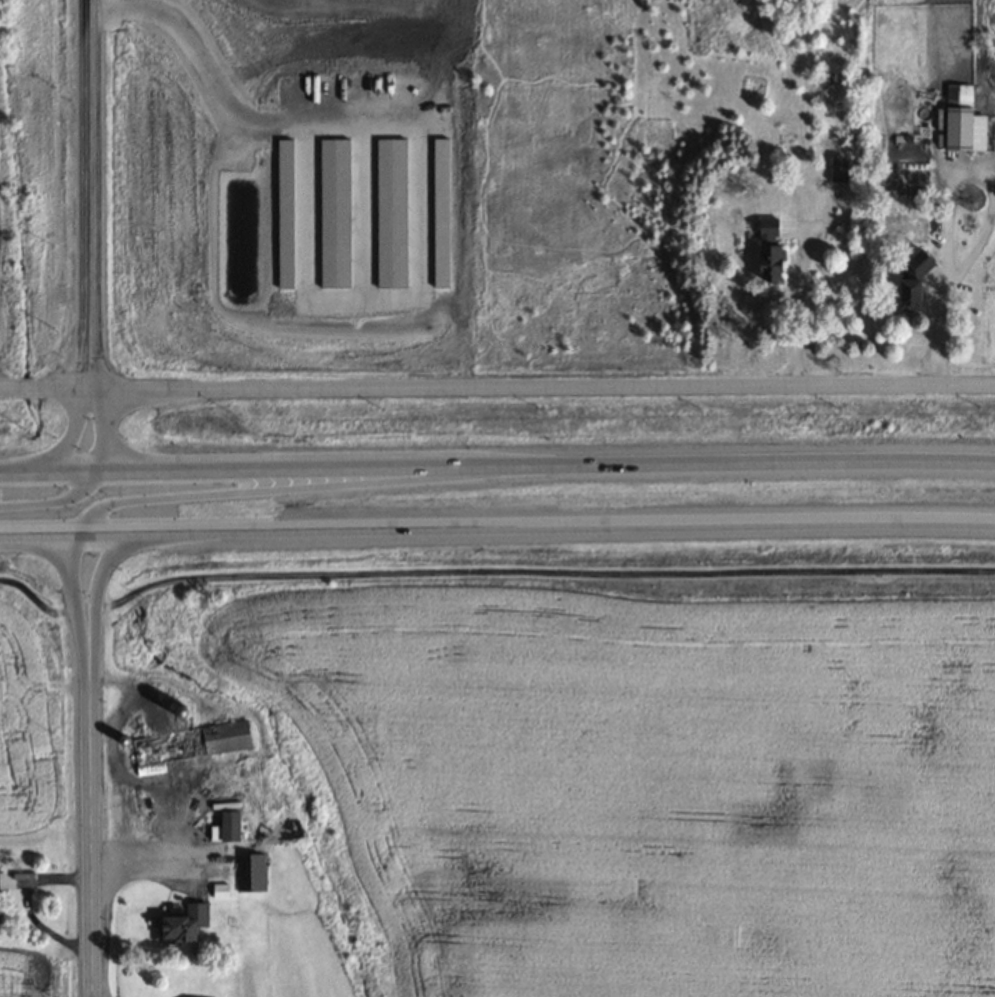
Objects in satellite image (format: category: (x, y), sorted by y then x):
building: (955, 121)
building: (836, 169)
road: (89, 195)
building: (774, 229)
building: (768, 265)
building: (910, 280)
road: (497, 387)
road: (105, 429)
road: (75, 435)
road: (497, 467)
road: (361, 484)
road: (53, 498)
road: (497, 526)
road: (103, 570)
road: (74, 571)
road: (489, 575)
crop: (38, 735)
building: (187, 742)
crop: (642, 780)
road: (89, 804)
building: (250, 871)
building: (181, 923)
crop: (39, 971)

